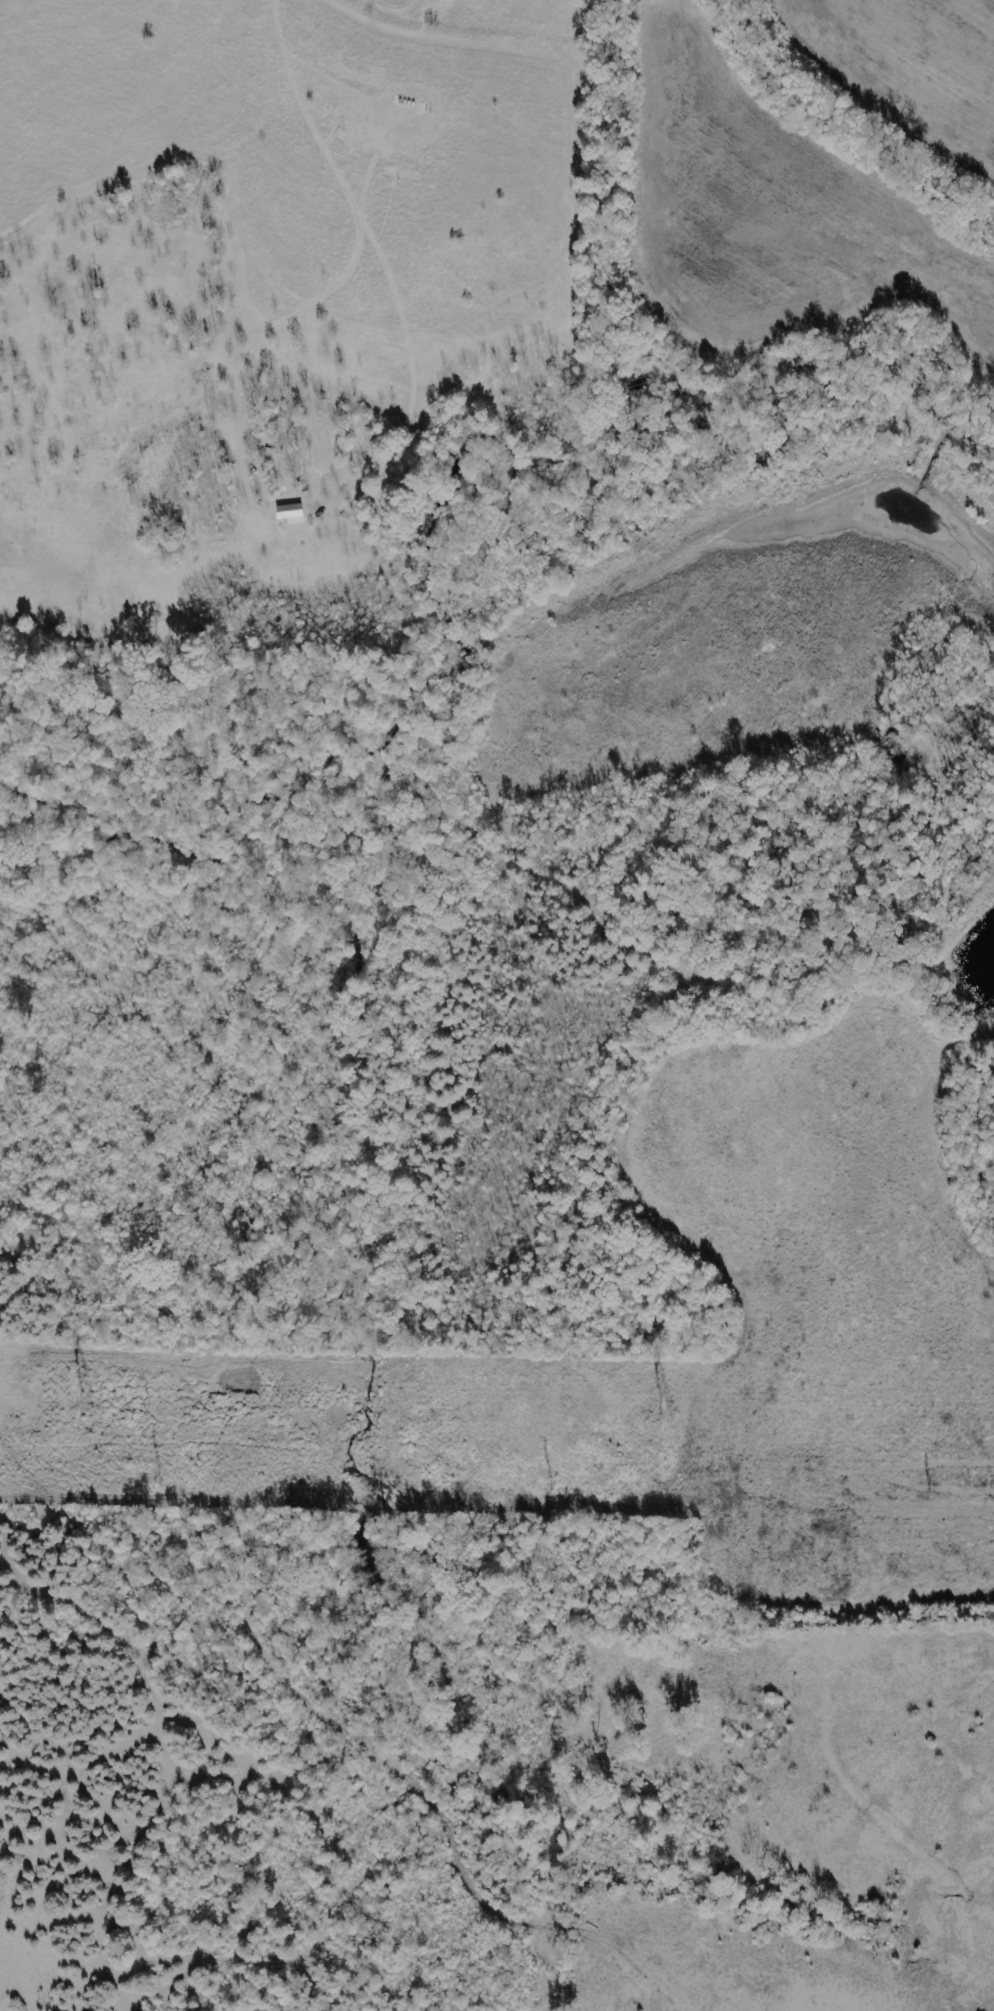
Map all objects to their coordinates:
power tower: (83, 1401)
power tower: (665, 1412)

